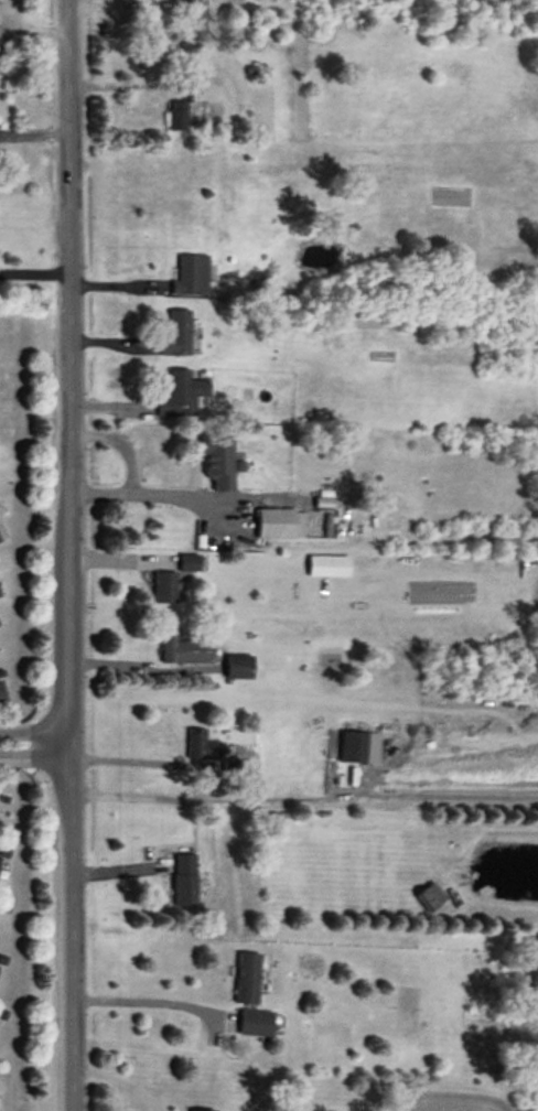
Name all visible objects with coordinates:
building: (176, 116)
road: (34, 131)
road: (34, 268)
building: (191, 277)
building: (177, 335)
building: (182, 395)
building: (217, 461)
road: (163, 494)
building: (276, 522)
road: (69, 554)
building: (189, 562)
building: (327, 565)
building: (164, 587)
building: (184, 650)
building: (238, 667)
building: (1, 694)
road: (34, 733)
building: (201, 746)
building: (353, 746)
road: (134, 754)
road: (34, 757)
road: (207, 797)
building: (183, 880)
building: (430, 897)
building: (247, 978)
road: (144, 1001)
building: (257, 1023)
building: (202, 1110)

